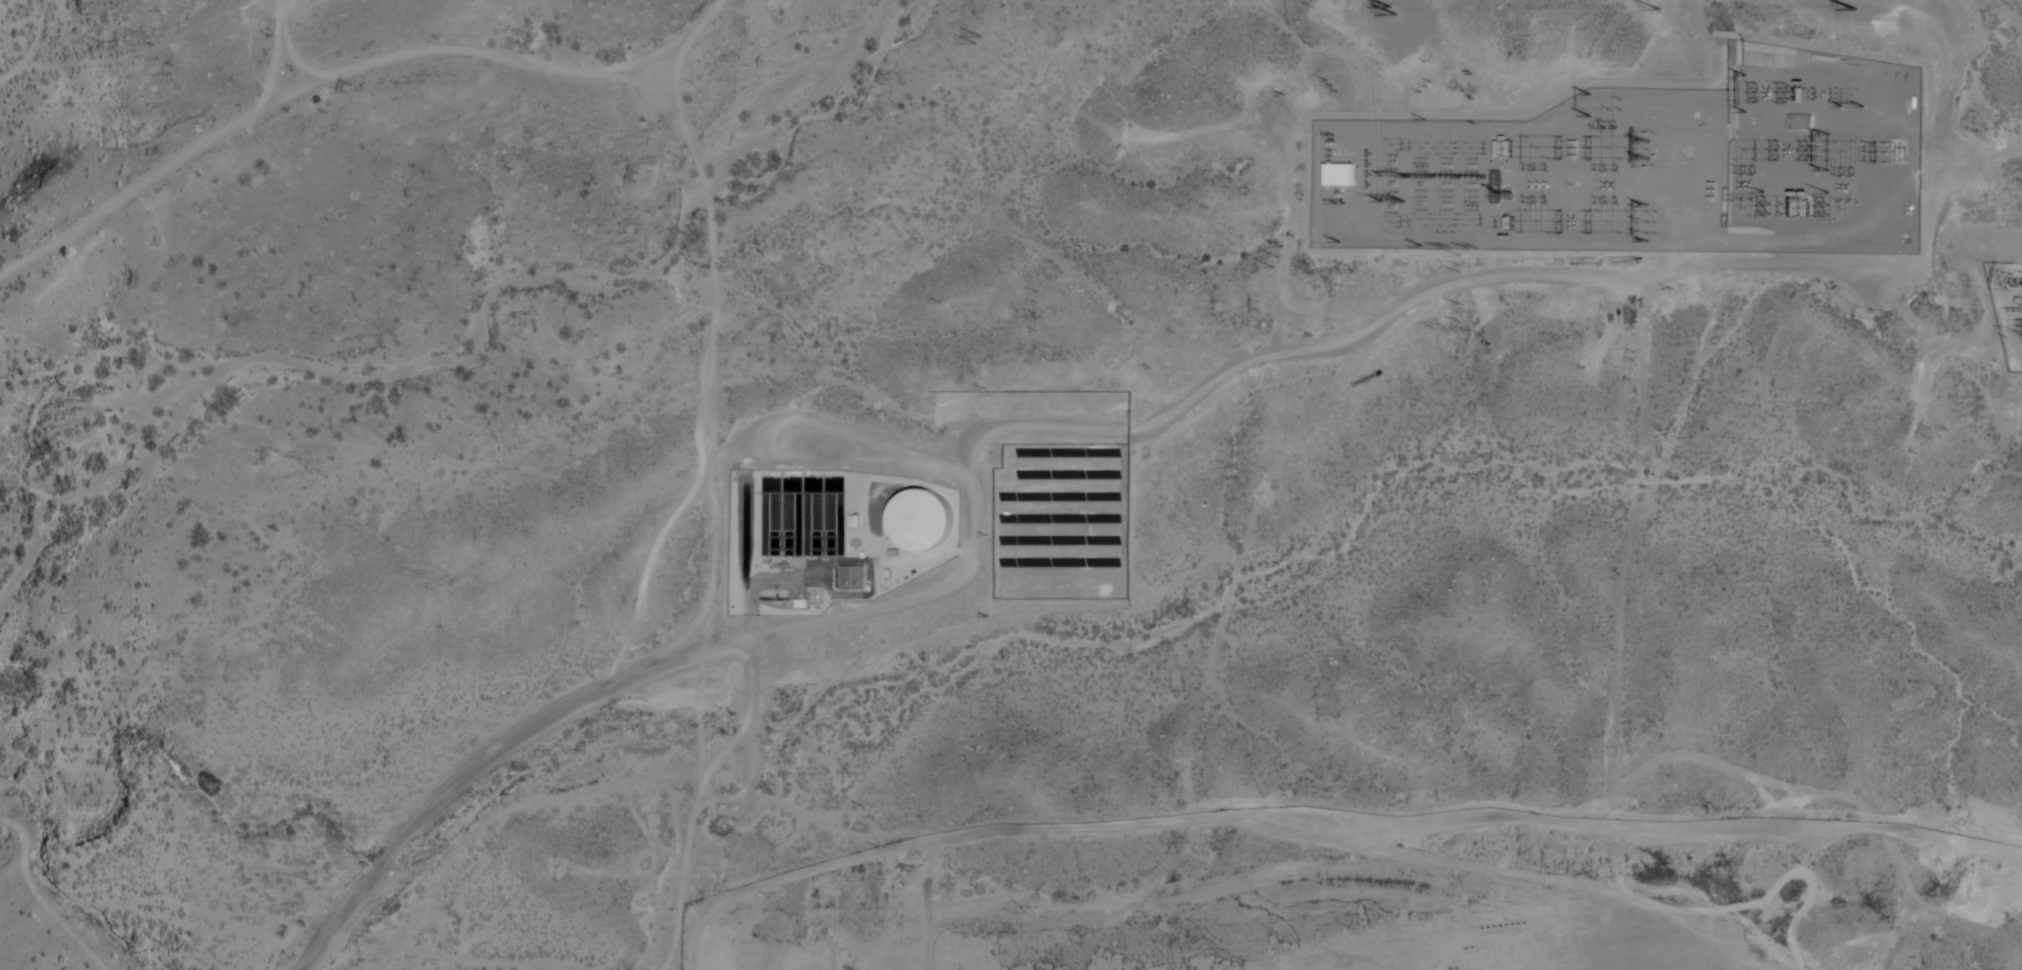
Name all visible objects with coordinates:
road: (718, 0)
power tower: (81, 7)
road: (2007, 12)
road: (23, 18)
road: (1704, 39)
power tower: (970, 40)
road: (33, 46)
road: (344, 68)
power tower: (353, 90)
building: (1801, 123)
power tower: (1123, 147)
road: (1979, 154)
power substation: (1645, 168)
power tower: (630, 175)
building: (1338, 175)
power tower: (1471, 250)
power tower: (1273, 256)
power tower: (1448, 263)
power tower: (2007, 275)
power tower: (1031, 300)
power tower: (1253, 303)
power tower: (1423, 303)
power substation: (2007, 305)
power tower: (1470, 325)
power tower: (1628, 353)
road: (1052, 424)
power tower: (1930, 429)
building: (919, 519)
storage tank: (919, 519)
solar farm: (1056, 522)
building: (850, 577)
road: (1425, 820)

